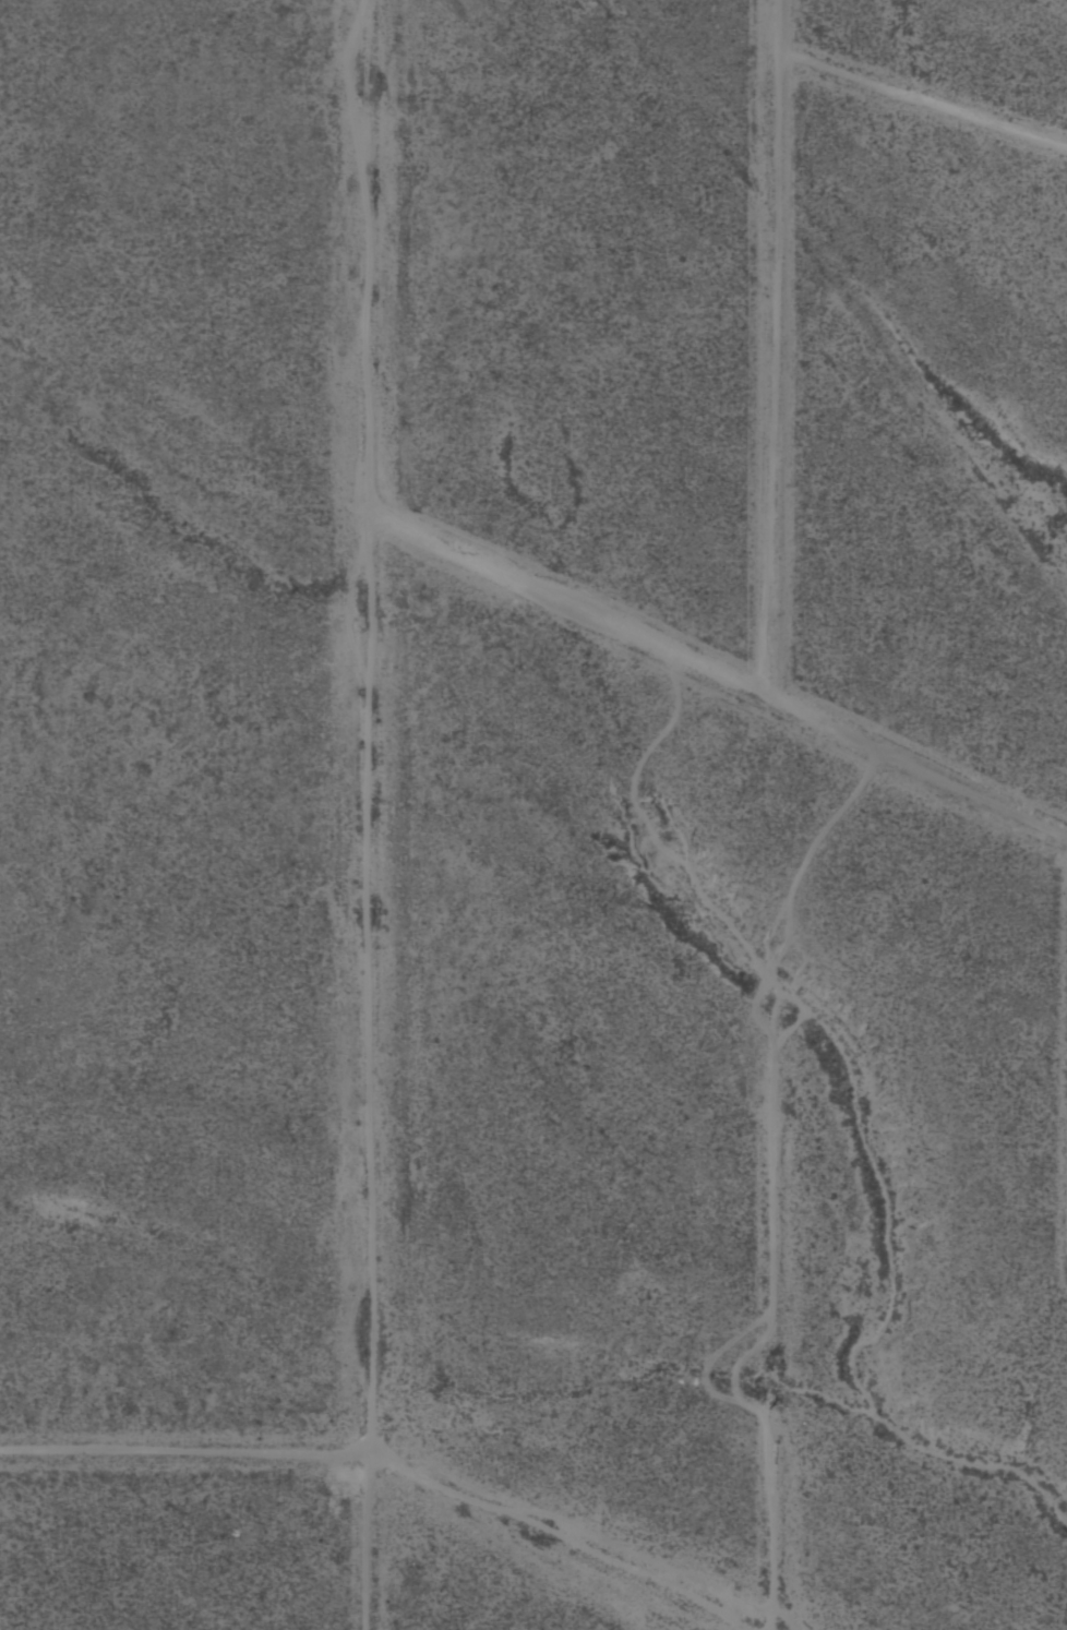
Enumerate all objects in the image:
road: (769, 348)
road: (718, 673)
road: (368, 815)
road: (392, 1463)

